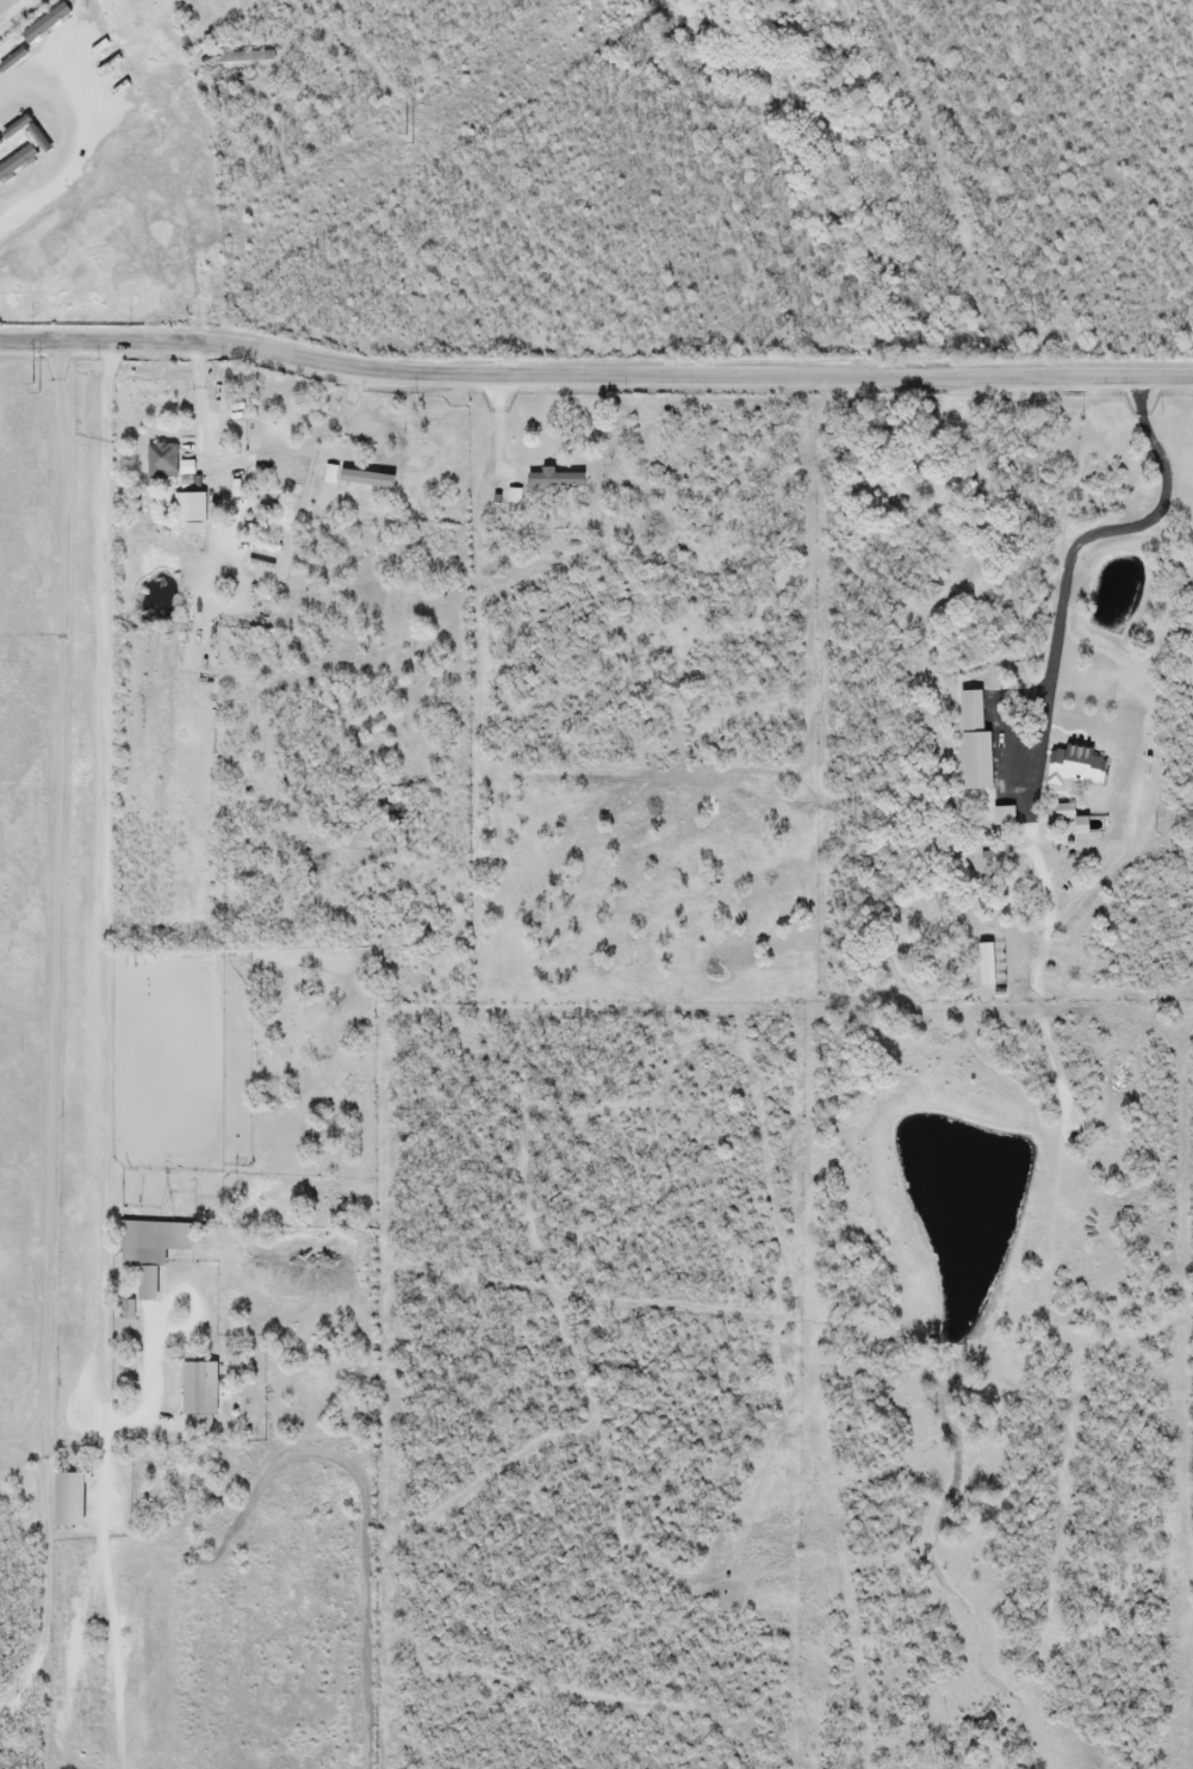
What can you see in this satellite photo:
power tower: (415, 136)
road: (79, 142)
building: (149, 167)
power tower: (85, 368)
road: (595, 377)
building: (162, 461)
road: (1085, 542)
building: (975, 745)
building: (1075, 766)
building: (1004, 817)
road: (100, 881)
road: (56, 1036)
building: (153, 1252)
building: (201, 1385)
building: (72, 1498)
road: (119, 1594)

